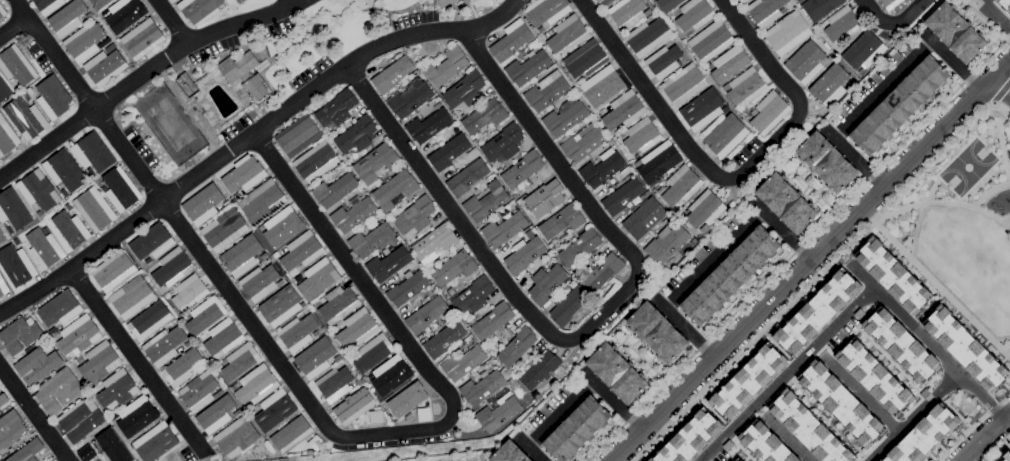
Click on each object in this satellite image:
building: (174, 0)
building: (462, 0)
building: (802, 0)
building: (240, 1)
building: (421, 1)
building: (743, 1)
building: (445, 2)
building: (604, 2)
building: (100, 3)
building: (890, 3)
building: (667, 4)
building: (47, 5)
building: (1005, 5)
building: (819, 7)
building: (199, 9)
building: (2, 11)
building: (546, 11)
building: (765, 11)
building: (628, 12)
building: (103, 13)
building: (125, 14)
building: (695, 14)
road: (993, 15)
building: (68, 17)
road: (983, 19)
road: (172, 22)
road: (892, 22)
building: (842, 23)
road: (14, 27)
building: (541, 29)
building: (788, 32)
building: (955, 32)
building: (567, 34)
building: (648, 36)
building: (143, 39)
building: (677, 39)
building: (511, 40)
building: (711, 41)
building: (84, 42)
building: (104, 42)
building: (110, 47)
building: (864, 51)
building: (586, 59)
building: (664, 61)
road: (952, 61)
building: (806, 62)
building: (730, 63)
building: (16, 65)
building: (446, 66)
building: (105, 67)
building: (238, 67)
building: (528, 67)
road: (142, 74)
building: (392, 74)
building: (206, 76)
building: (179, 80)
road: (1004, 80)
building: (684, 84)
building: (829, 85)
building: (256, 86)
building: (603, 86)
building: (745, 86)
building: (14, 87)
building: (187, 88)
building: (4, 90)
building: (465, 90)
road: (1001, 90)
building: (33, 91)
building: (547, 91)
road: (887, 92)
building: (27, 96)
building: (53, 97)
building: (410, 98)
road: (994, 103)
building: (899, 105)
building: (194, 108)
building: (337, 108)
building: (702, 109)
road: (189, 110)
building: (623, 110)
building: (754, 111)
building: (769, 112)
building: (484, 115)
building: (26, 118)
building: (565, 118)
park: (170, 123)
building: (429, 125)
building: (356, 135)
building: (622, 135)
building: (642, 135)
building: (726, 135)
building: (7, 136)
road: (249, 136)
building: (298, 136)
building: (583, 142)
building: (503, 144)
road: (1002, 144)
building: (449, 151)
building: (93, 154)
road: (856, 158)
building: (316, 162)
building: (659, 162)
building: (826, 162)
building: (376, 163)
park: (967, 166)
building: (602, 168)
building: (522, 170)
building: (65, 172)
building: (244, 174)
building: (467, 177)
road: (734, 177)
building: (681, 185)
building: (395, 188)
road: (816, 189)
building: (120, 190)
building: (335, 190)
building: (38, 191)
road: (990, 191)
building: (240, 192)
building: (623, 194)
building: (545, 198)
building: (262, 201)
building: (486, 201)
building: (786, 202)
road: (943, 202)
building: (205, 203)
building: (68, 206)
building: (12, 209)
building: (95, 209)
building: (705, 209)
building: (353, 215)
building: (414, 216)
building: (645, 218)
park: (962, 220)
building: (562, 222)
building: (535, 223)
building: (283, 227)
building: (71, 228)
building: (260, 228)
building: (705, 228)
building: (224, 229)
building: (504, 229)
building: (46, 230)
building: (11, 231)
road: (785, 231)
building: (2, 236)
building: (371, 239)
building: (694, 241)
building: (17, 242)
building: (152, 243)
building: (434, 243)
building: (666, 243)
building: (580, 247)
road: (797, 247)
building: (45, 248)
building: (302, 251)
building: (277, 254)
building: (524, 254)
building: (242, 255)
road: (718, 260)
road: (811, 261)
building: (156, 264)
building: (389, 264)
building: (17, 265)
building: (172, 267)
building: (454, 268)
building: (114, 271)
building: (604, 271)
road: (818, 273)
building: (730, 275)
building: (893, 275)
building: (299, 278)
building: (319, 278)
building: (260, 282)
building: (547, 283)
building: (3, 286)
building: (408, 287)
road: (941, 288)
building: (172, 291)
building: (190, 291)
building: (448, 292)
building: (473, 295)
building: (132, 297)
building: (322, 299)
building: (339, 303)
building: (281, 305)
building: (569, 306)
building: (60, 308)
building: (817, 311)
building: (426, 314)
building: (205, 315)
building: (150, 320)
building: (183, 320)
building: (493, 320)
building: (357, 327)
road: (586, 328)
road: (688, 328)
building: (298, 332)
building: (657, 333)
building: (20, 334)
building: (314, 334)
building: (79, 335)
building: (223, 336)
building: (444, 339)
road: (929, 342)
building: (188, 343)
building: (900, 344)
building: (164, 345)
building: (518, 347)
building: (182, 348)
road: (778, 348)
building: (966, 349)
building: (374, 352)
building: (316, 357)
road: (887, 358)
road: (647, 359)
building: (80, 360)
building: (100, 362)
road: (138, 362)
building: (239, 362)
building: (464, 363)
building: (37, 365)
building: (184, 367)
building: (540, 369)
building: (617, 373)
road: (787, 374)
building: (370, 375)
building: (391, 375)
building: (873, 377)
building: (359, 381)
building: (748, 381)
building: (334, 383)
building: (256, 384)
building: (482, 387)
building: (59, 390)
building: (117, 390)
building: (200, 391)
road: (862, 394)
building: (2, 399)
building: (408, 399)
road: (615, 401)
building: (841, 403)
building: (354, 406)
road: (313, 408)
building: (275, 410)
road: (953, 410)
road: (714, 412)
road: (34, 413)
building: (218, 413)
building: (424, 413)
building: (498, 414)
road: (564, 414)
building: (376, 415)
building: (137, 416)
road: (913, 416)
road: (827, 418)
building: (81, 419)
road: (971, 425)
building: (11, 428)
building: (576, 429)
building: (809, 429)
building: (292, 434)
building: (923, 435)
building: (237, 437)
building: (689, 438)
road: (788, 439)
road: (986, 439)
building: (156, 442)
building: (317, 442)
building: (765, 443)
building: (104, 447)
road: (994, 447)
road: (739, 448)
road: (534, 449)
building: (27, 451)
building: (310, 452)
building: (509, 453)
building: (1006, 457)
building: (740, 458)
road: (634, 460)

